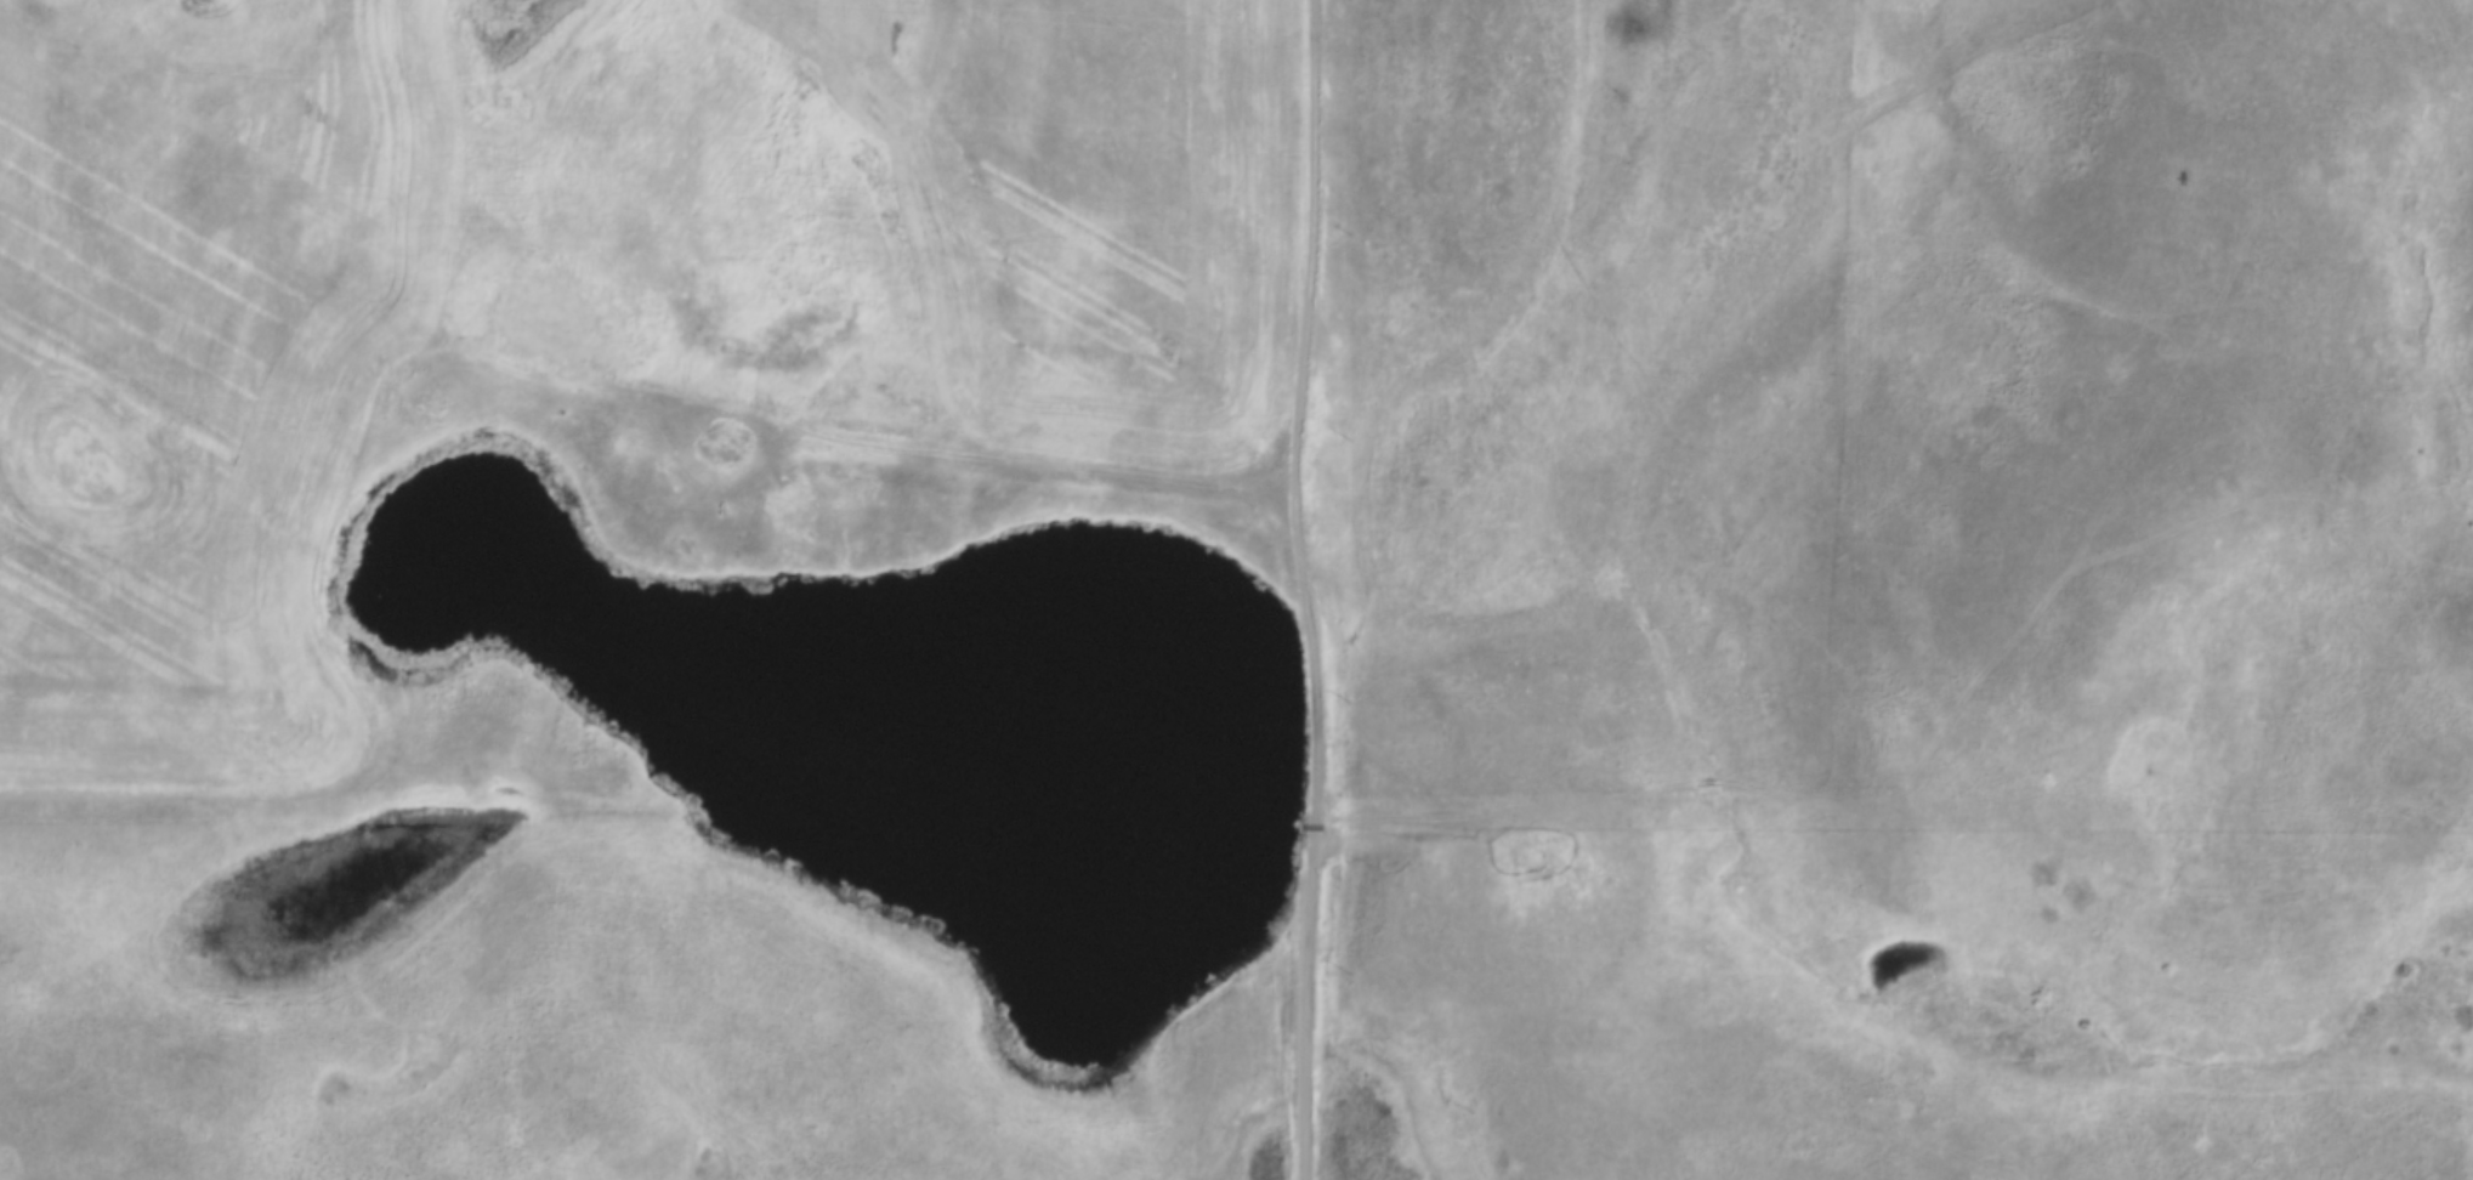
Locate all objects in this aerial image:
road: (1304, 589)

